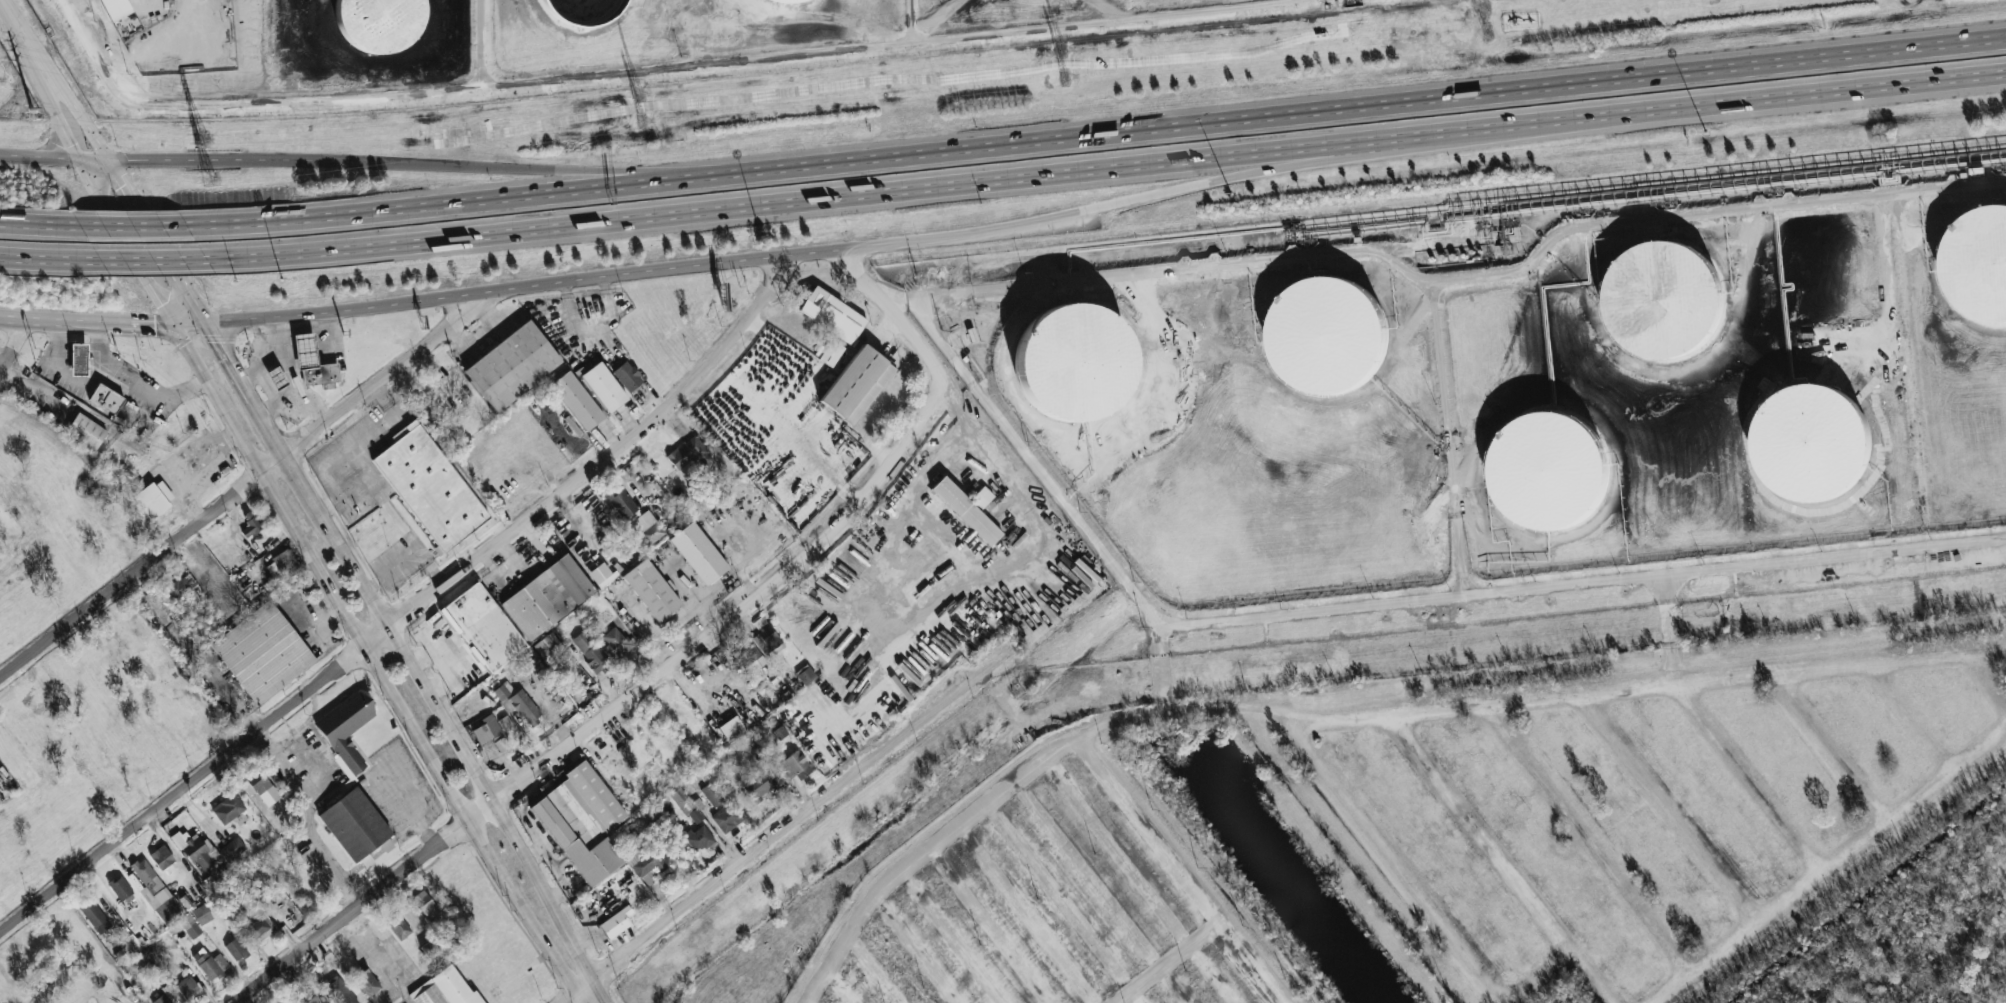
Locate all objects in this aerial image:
building: (785, 1)
power tower: (1483, 6)
building: (116, 8)
building: (578, 9)
road: (911, 22)
building: (386, 25)
power tower: (1481, 31)
road: (480, 43)
power tower: (1058, 50)
road: (658, 68)
power tower: (1058, 77)
power tower: (638, 101)
power tower: (26, 104)
road: (1340, 109)
road: (1701, 111)
power tower: (639, 125)
power tower: (223, 140)
road: (1369, 148)
road: (47, 157)
traffic signals: (95, 159)
road: (239, 160)
road: (96, 161)
road: (529, 168)
power tower: (213, 180)
road: (778, 208)
road: (434, 209)
road: (1093, 215)
road: (1711, 220)
road: (25, 226)
road: (121, 227)
road: (814, 248)
road: (1324, 259)
road: (44, 260)
road: (151, 262)
building: (1974, 264)
road: (492, 289)
building: (1658, 301)
road: (896, 310)
building: (832, 315)
road: (34, 319)
road: (132, 320)
traffic signals: (195, 322)
road: (327, 332)
building: (1315, 339)
road: (16, 344)
road: (998, 348)
building: (304, 350)
gas station: (304, 350)
road: (305, 350)
road: (289, 352)
road: (281, 355)
building: (79, 359)
gas station: (79, 359)
building: (512, 365)
building: (1059, 365)
road: (62, 370)
road: (1912, 373)
building: (319, 374)
building: (627, 376)
road: (293, 377)
building: (276, 378)
gas station: (276, 378)
building: (857, 384)
building: (603, 387)
road: (131, 388)
road: (267, 388)
building: (106, 398)
building: (576, 401)
road: (296, 402)
road: (380, 402)
building: (86, 431)
road: (374, 433)
building: (1803, 450)
road: (353, 451)
building: (686, 454)
road: (998, 455)
road: (607, 457)
road: (943, 458)
building: (1538, 475)
road: (245, 481)
parking lot: (371, 487)
building: (429, 491)
road: (356, 497)
building: (982, 497)
building: (154, 498)
building: (622, 503)
road: (391, 508)
building: (966, 511)
building: (250, 527)
building: (647, 528)
road: (956, 538)
road: (413, 539)
building: (698, 553)
road: (397, 563)
building: (281, 565)
road: (431, 565)
building: (203, 569)
road: (1008, 570)
building: (601, 574)
building: (178, 586)
building: (651, 590)
building: (547, 597)
road: (1388, 602)
building: (483, 627)
road: (1675, 629)
building: (770, 638)
building: (582, 641)
building: (617, 642)
building: (546, 645)
building: (262, 652)
road: (1991, 652)
road: (406, 657)
building: (749, 657)
building: (596, 660)
road: (1162, 660)
road: (374, 668)
building: (805, 675)
road: (1665, 687)
building: (525, 707)
road: (612, 710)
road: (1182, 711)
road: (1912, 713)
building: (506, 724)
building: (726, 727)
building: (345, 731)
building: (490, 733)
road: (1827, 746)
building: (793, 766)
road: (1741, 779)
road: (195, 781)
building: (755, 786)
building: (264, 791)
building: (712, 793)
building: (682, 801)
building: (666, 807)
building: (227, 808)
road: (1661, 811)
road: (812, 812)
building: (695, 815)
building: (726, 818)
building: (286, 822)
building: (582, 822)
road: (302, 824)
building: (354, 825)
road: (1477, 835)
building: (698, 838)
road: (1580, 841)
building: (232, 848)
building: (195, 850)
road: (989, 851)
building: (161, 857)
road: (1182, 859)
road: (1827, 860)
building: (649, 864)
road: (917, 864)
building: (120, 889)
building: (156, 892)
building: (185, 902)
building: (426, 906)
building: (201, 914)
road: (1443, 914)
building: (94, 917)
building: (616, 923)
building: (189, 925)
building: (397, 925)
building: (259, 929)
building: (235, 949)
road: (1177, 960)
building: (210, 964)
building: (365, 980)
building: (186, 986)
building: (444, 989)
building: (338, 991)
road: (581, 993)
building: (305, 997)

